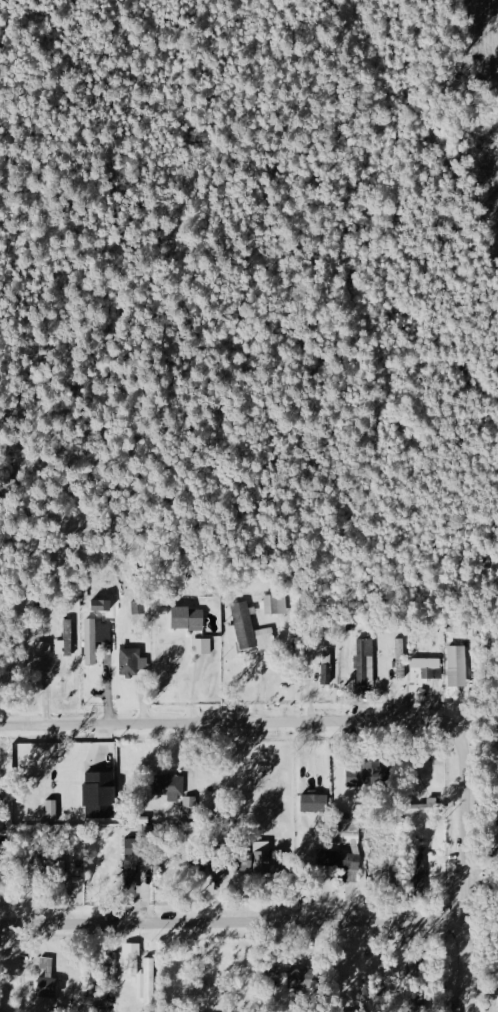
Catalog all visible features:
building: (276, 604)
building: (187, 618)
building: (249, 630)
building: (68, 637)
building: (95, 638)
building: (43, 648)
building: (401, 657)
building: (365, 662)
building: (327, 665)
building: (428, 667)
building: (456, 668)
road: (244, 723)
building: (494, 733)
building: (367, 776)
building: (169, 786)
building: (99, 795)
building: (191, 806)
building: (320, 806)
building: (427, 807)
building: (52, 811)
building: (350, 833)
building: (135, 852)
building: (330, 859)
building: (36, 865)
building: (60, 869)
building: (418, 871)
road: (464, 885)
road: (232, 921)
building: (132, 958)
building: (46, 978)
building: (296, 978)
building: (147, 982)

